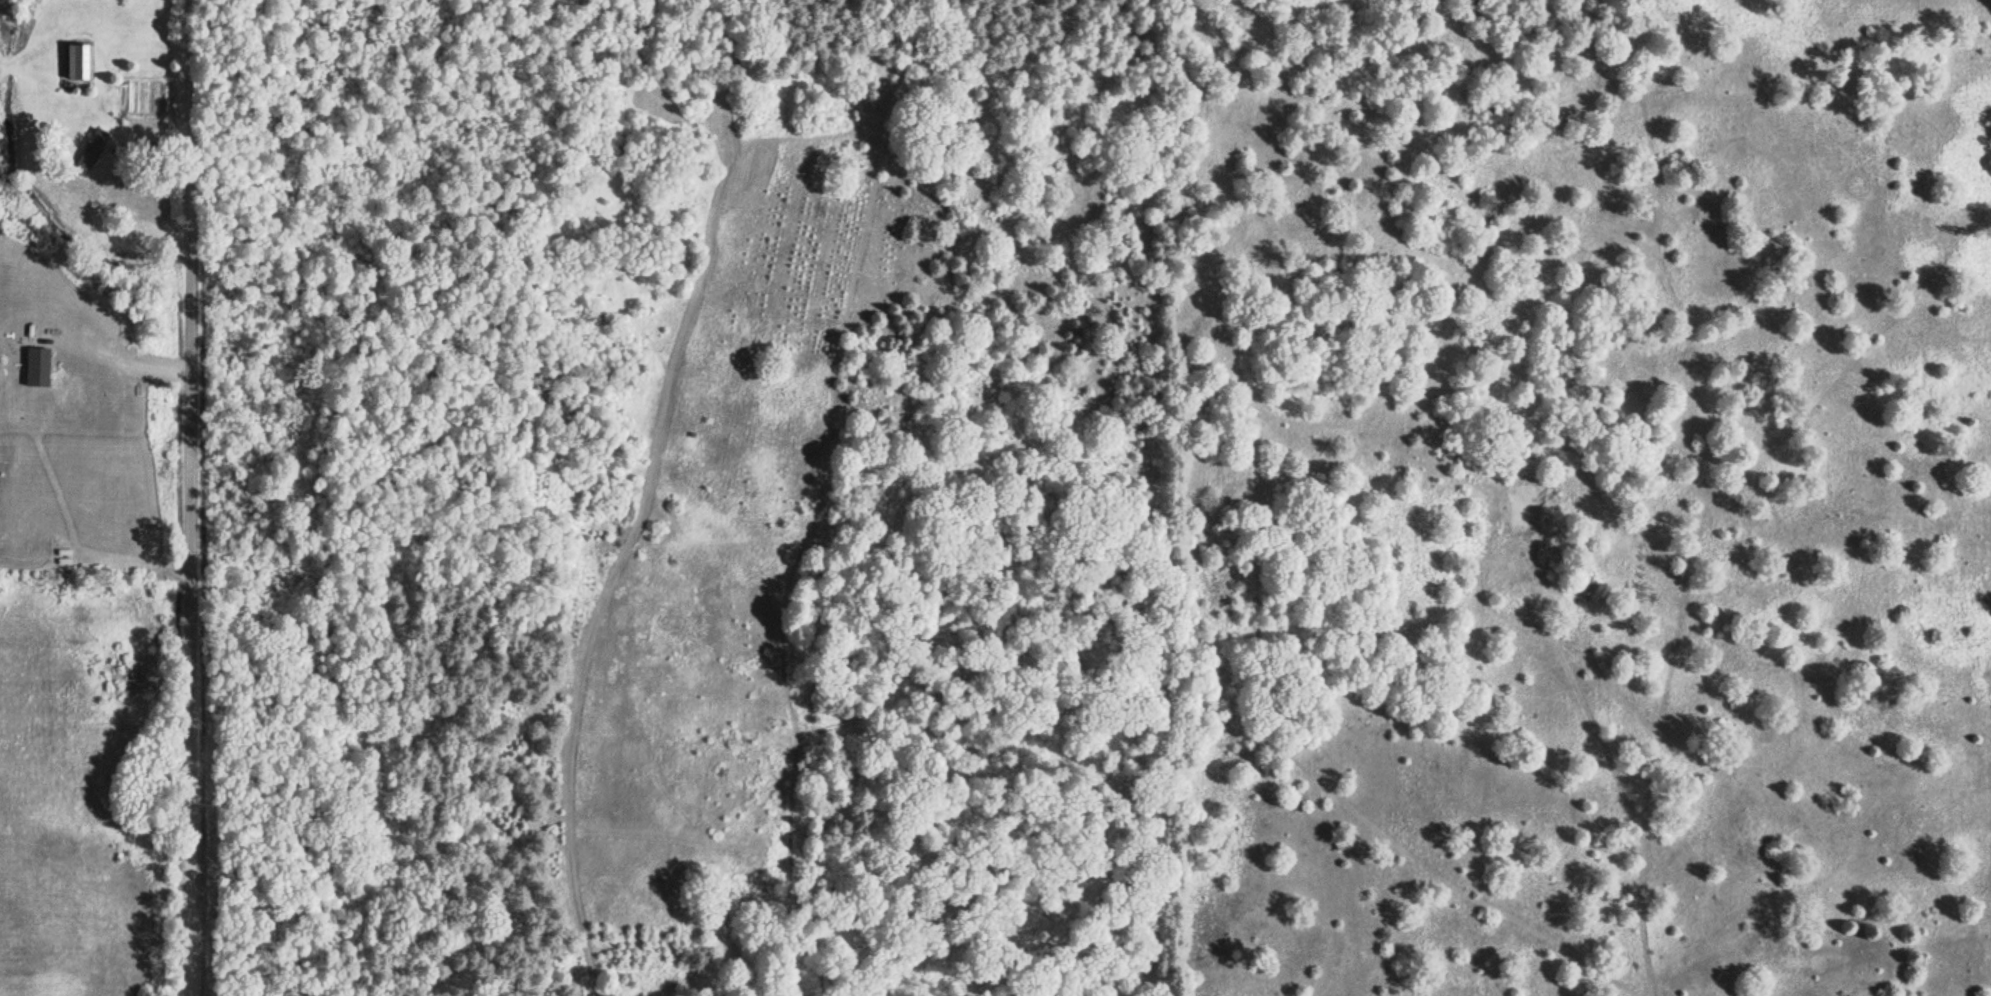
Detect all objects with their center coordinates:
building: (75, 64)
road: (193, 625)

